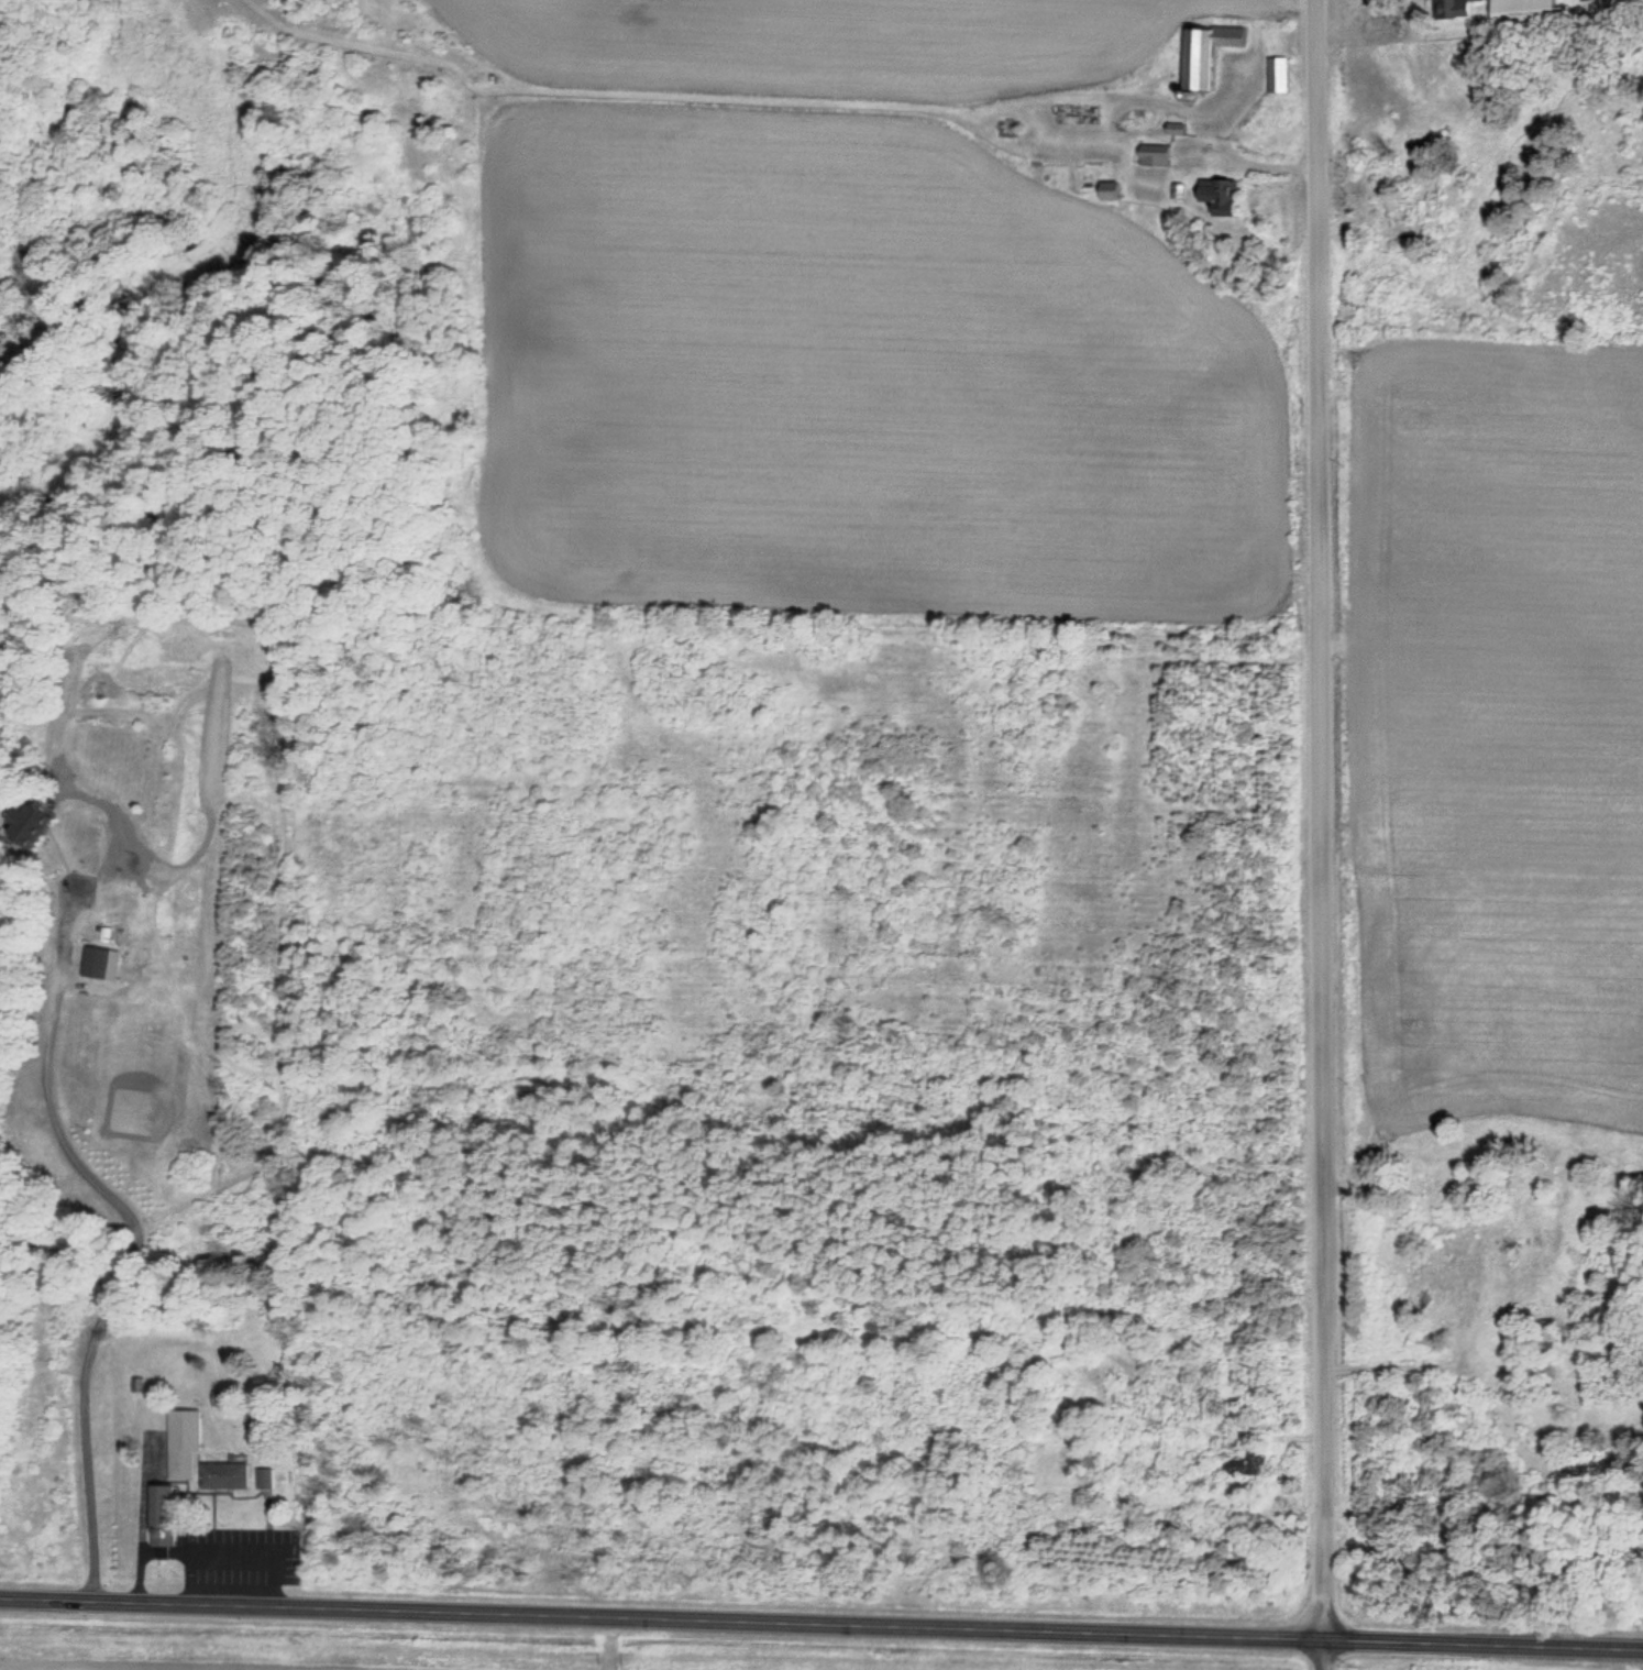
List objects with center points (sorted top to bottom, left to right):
building: (1585, 0)
building: (1451, 9)
building: (1524, 14)
building: (1205, 53)
building: (1278, 75)
building: (1077, 114)
building: (1154, 158)
building: (1219, 196)
building: (33, 820)
road: (1320, 835)
road: (143, 1240)
building: (1433, 1270)
building: (140, 1384)
building: (183, 1439)
building: (227, 1474)
building: (266, 1480)
building: (161, 1514)
parking lot: (241, 1556)
road: (821, 1619)

